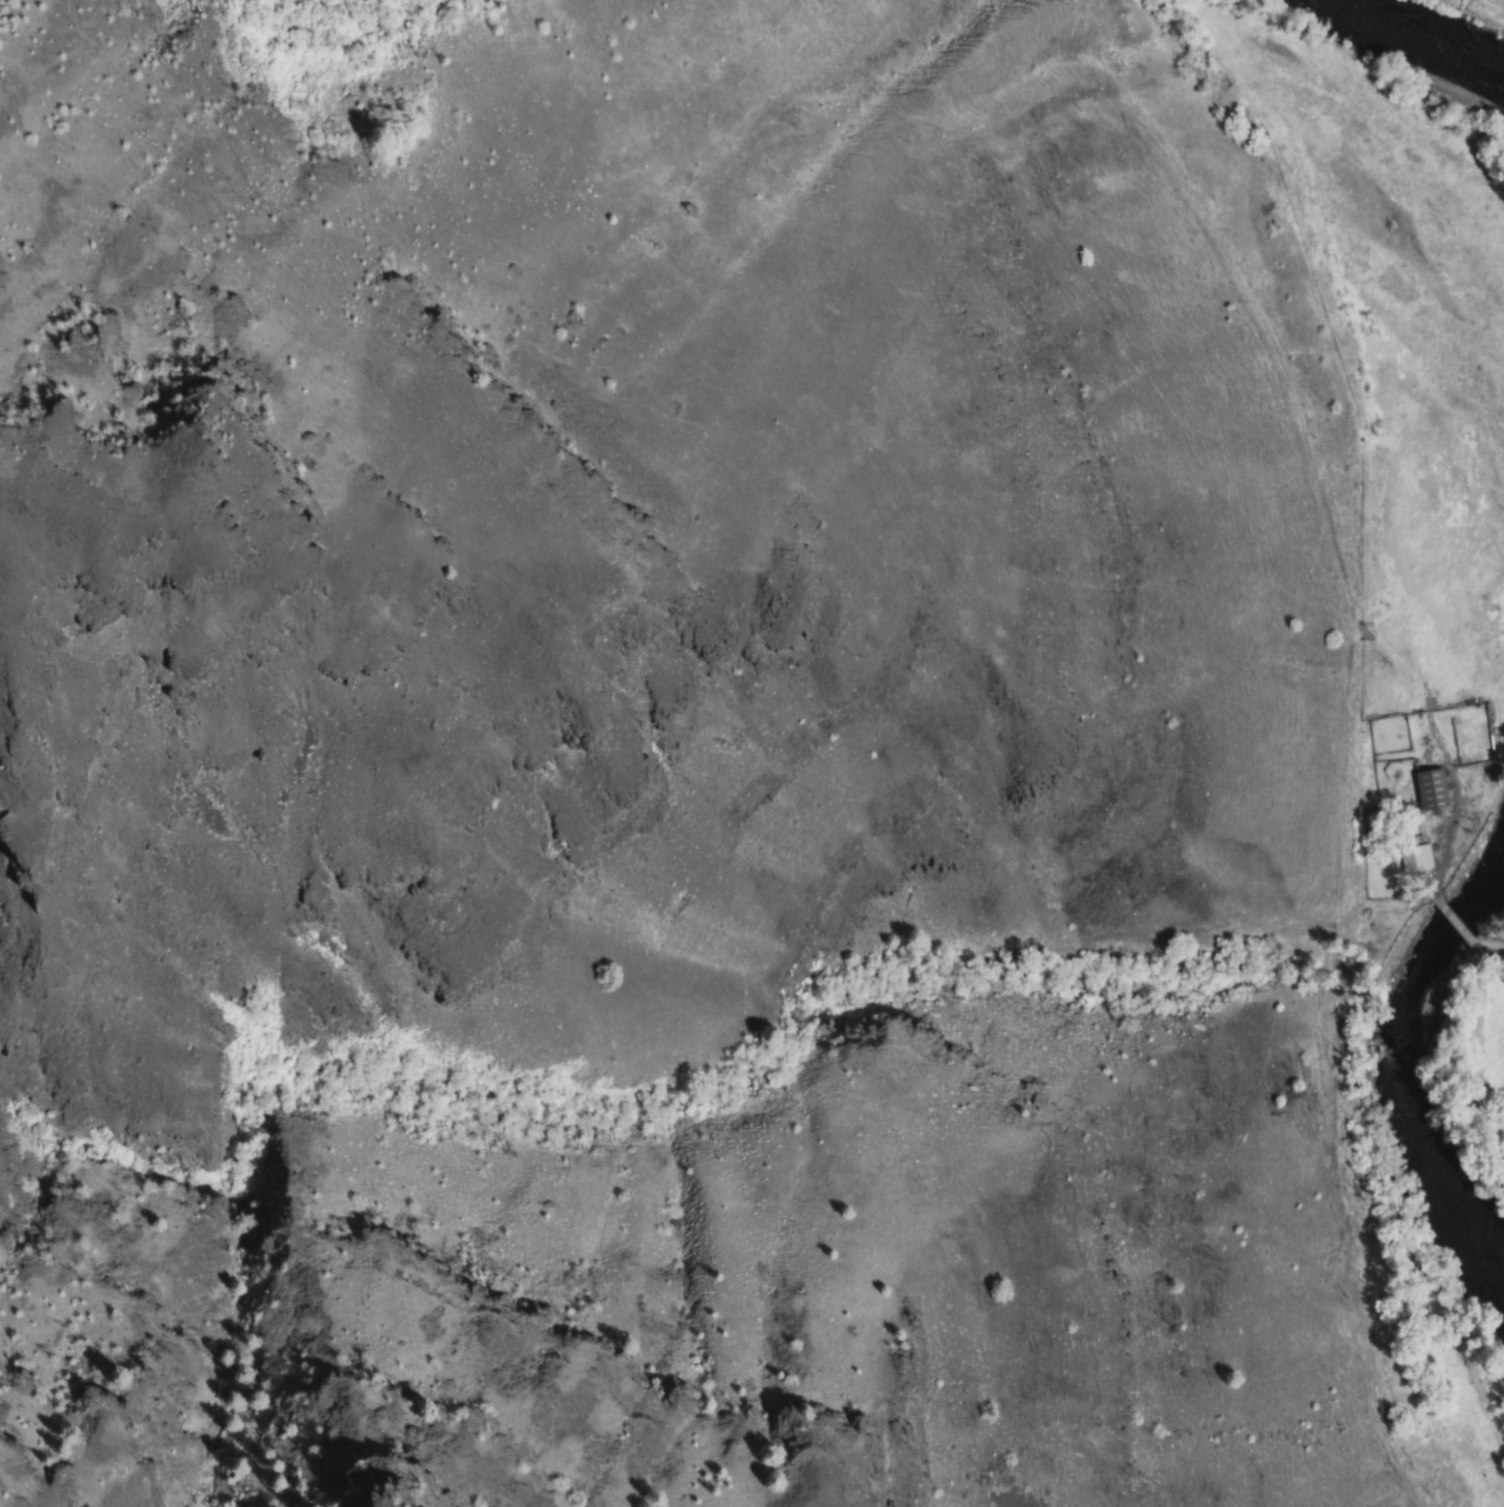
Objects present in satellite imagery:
river: (1402, 54)
building: (1431, 790)
river: (1381, 1126)

